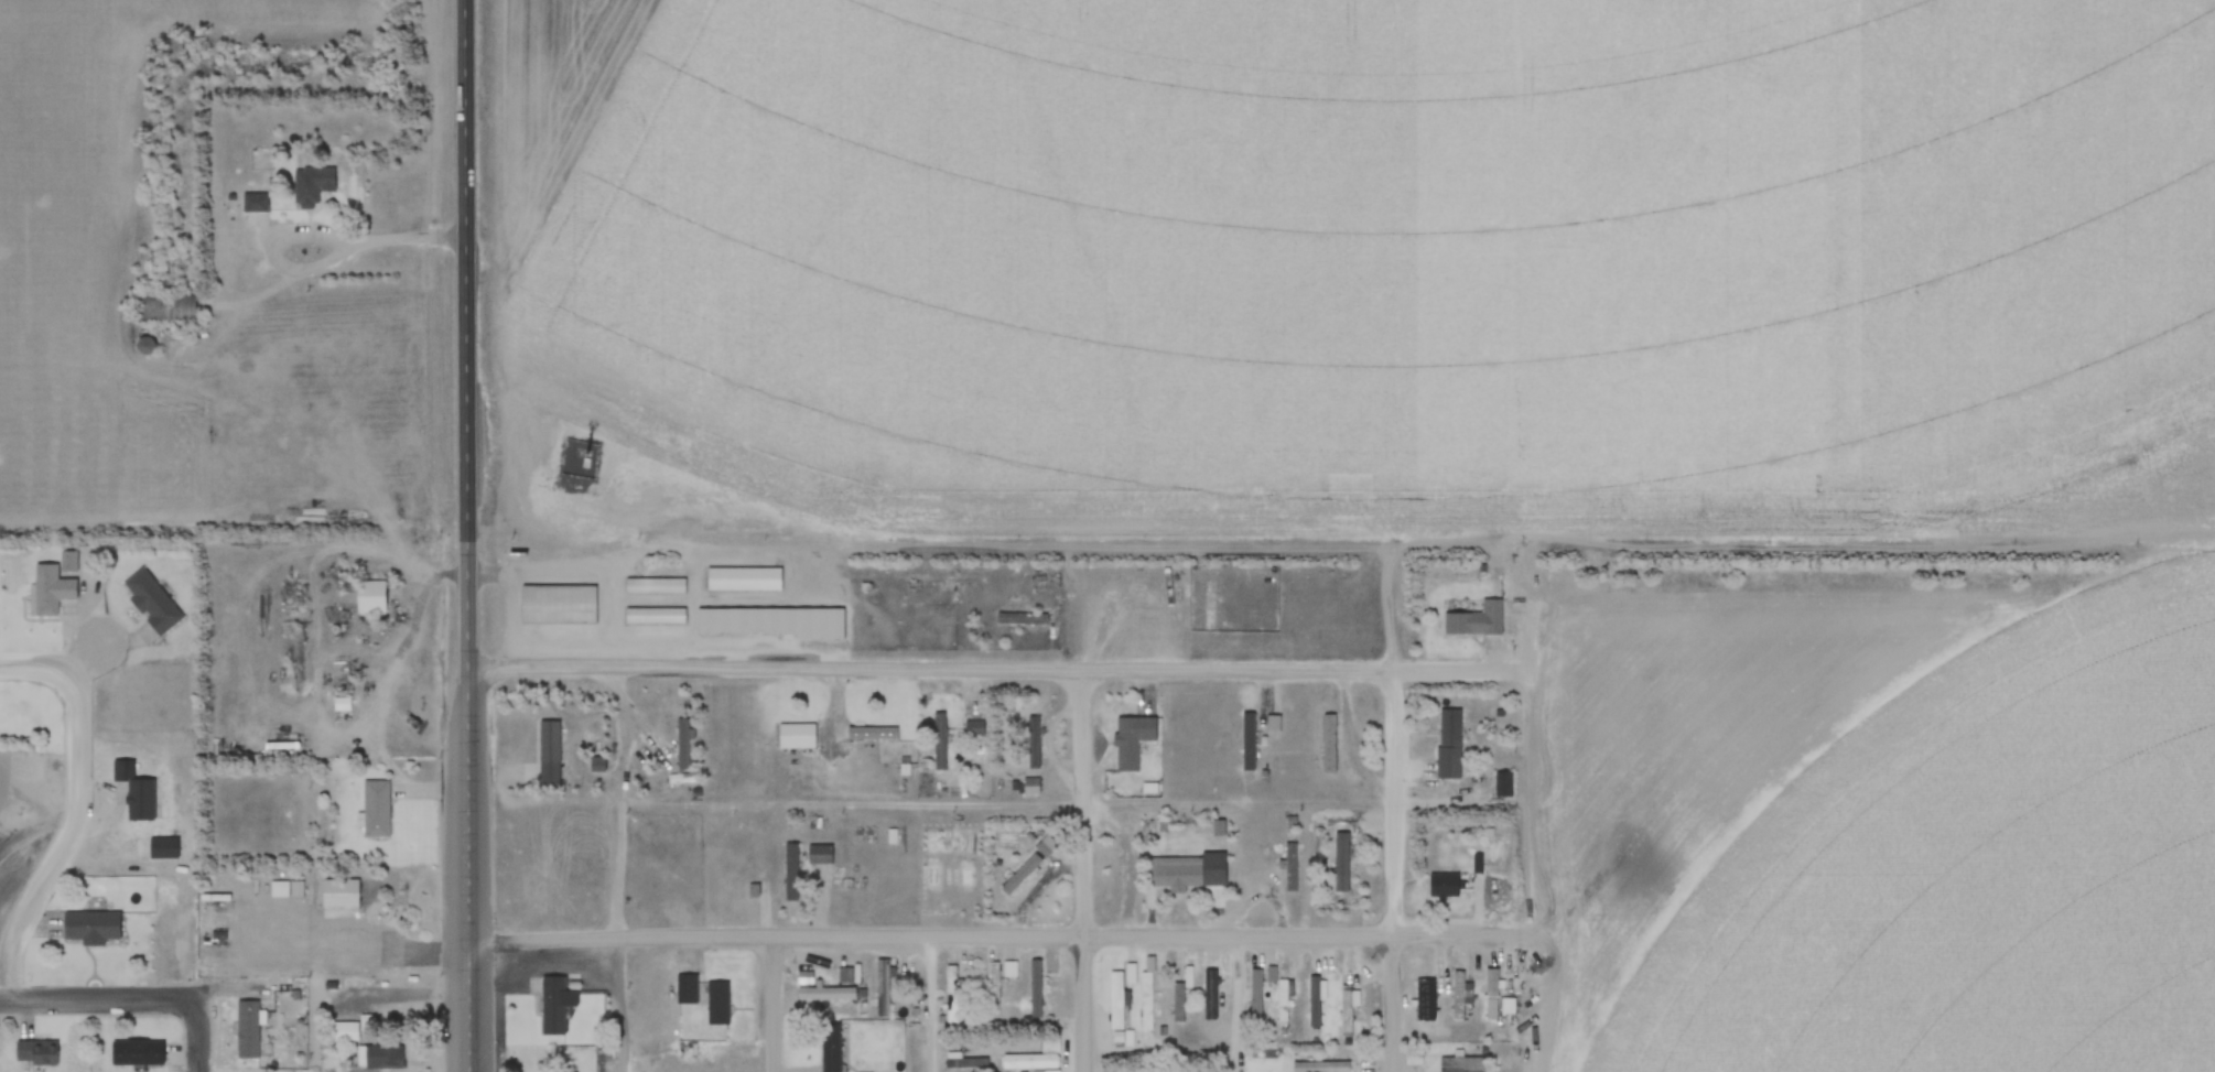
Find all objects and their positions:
building: (305, 188)
building: (250, 204)
road: (370, 236)
road: (471, 264)
building: (165, 308)
building: (143, 346)
building: (744, 580)
building: (656, 587)
building: (51, 588)
building: (370, 597)
building: (151, 603)
building: (558, 605)
building: (655, 617)
building: (1022, 619)
building: (1474, 621)
building: (770, 622)
road: (43, 670)
road: (996, 671)
building: (973, 729)
building: (871, 734)
building: (797, 737)
building: (1329, 740)
building: (940, 741)
building: (1034, 743)
building: (1448, 744)
building: (682, 745)
building: (548, 754)
building: (682, 779)
building: (1504, 786)
road: (468, 800)
building: (375, 810)
road: (74, 824)
building: (819, 854)
building: (1341, 863)
building: (1292, 867)
road: (1087, 870)
road: (1391, 870)
building: (791, 871)
building: (1020, 875)
building: (1179, 875)
building: (678, 885)
building: (1444, 886)
building: (338, 894)
building: (90, 927)
road: (1002, 938)
building: (1227, 979)
building: (884, 988)
building: (993, 988)
building: (684, 989)
building: (1035, 989)
building: (825, 994)
building: (1493, 994)
building: (953, 995)
building: (1210, 995)
building: (1255, 995)
building: (1461, 995)
building: (1148, 996)
building: (1117, 998)
road: (105, 1000)
building: (1425, 1000)
building: (1179, 1003)
building: (1284, 1003)
building: (1317, 1003)
building: (715, 1004)
road: (776, 1005)
road: (931, 1005)
road: (1239, 1005)
road: (622, 1006)
building: (551, 1007)
building: (1348, 1010)
building: (247, 1030)
building: (344, 1032)
road: (202, 1040)
building: (991, 1047)
building: (830, 1051)
building: (36, 1052)
building: (136, 1052)
building: (377, 1057)
building: (1414, 1059)
building: (1030, 1062)
building: (1461, 1064)
building: (1321, 1066)

